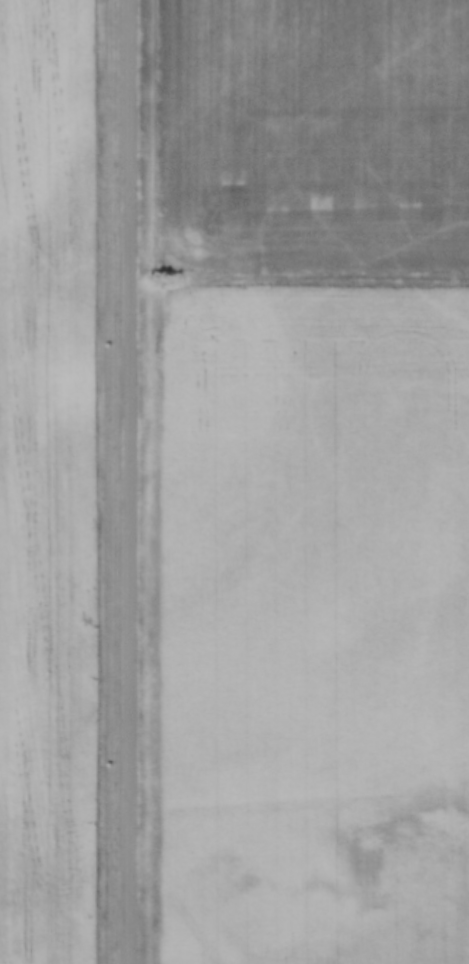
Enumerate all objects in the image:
road: (302, 275)
road: (135, 481)

